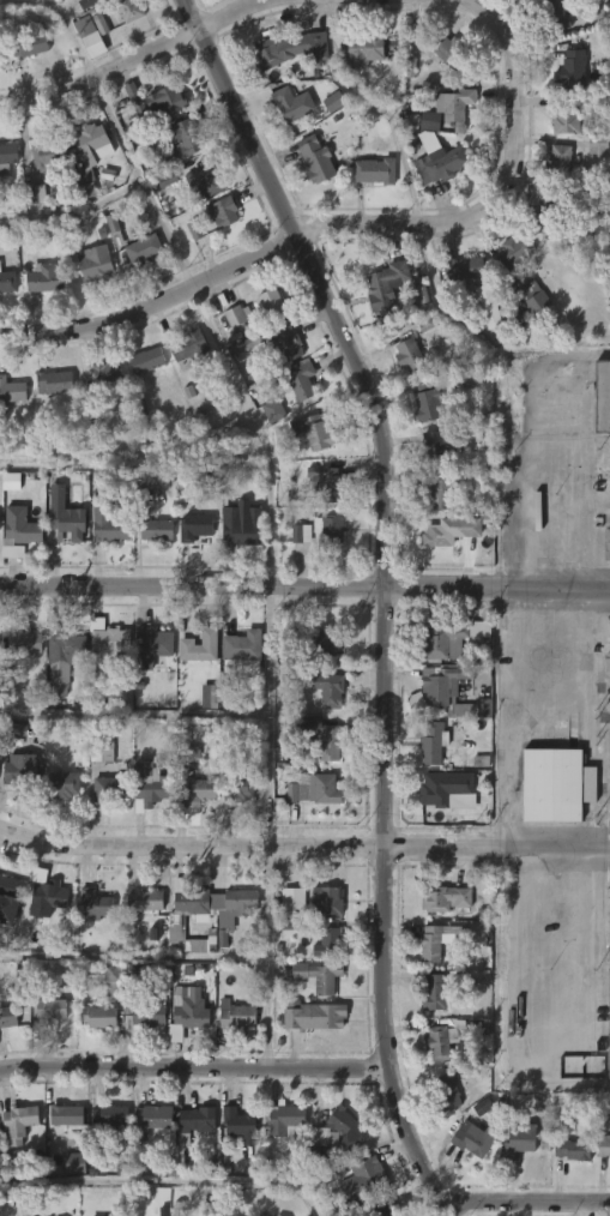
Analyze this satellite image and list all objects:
building: (86, 2)
building: (132, 11)
road: (231, 14)
building: (558, 14)
building: (101, 24)
building: (422, 31)
building: (90, 37)
building: (34, 47)
building: (289, 50)
building: (364, 50)
building: (451, 56)
building: (410, 68)
building: (574, 71)
road: (102, 72)
building: (164, 101)
building: (137, 102)
building: (334, 102)
building: (290, 104)
building: (457, 104)
road: (379, 107)
building: (570, 116)
building: (425, 121)
building: (187, 137)
building: (86, 143)
building: (8, 157)
building: (47, 159)
building: (314, 159)
building: (561, 163)
building: (442, 164)
building: (375, 170)
building: (167, 179)
building: (209, 181)
building: (86, 182)
road: (500, 189)
building: (35, 194)
building: (225, 210)
road: (76, 211)
building: (544, 211)
building: (194, 230)
building: (145, 248)
building: (513, 251)
building: (98, 263)
building: (461, 271)
building: (44, 279)
building: (7, 281)
building: (385, 284)
building: (532, 295)
road: (153, 303)
building: (272, 303)
building: (491, 308)
building: (235, 317)
building: (277, 342)
building: (187, 345)
building: (409, 356)
building: (145, 361)
building: (111, 374)
building: (54, 380)
building: (304, 381)
building: (423, 386)
building: (11, 390)
building: (425, 405)
building: (603, 409)
building: (273, 410)
building: (89, 415)
building: (314, 432)
building: (437, 447)
building: (11, 481)
building: (326, 484)
building: (441, 492)
road: (268, 507)
building: (64, 525)
building: (107, 525)
building: (240, 525)
building: (194, 528)
building: (331, 528)
building: (153, 529)
building: (453, 530)
building: (22, 532)
building: (301, 534)
road: (304, 586)
road: (386, 592)
building: (26, 642)
building: (291, 642)
building: (446, 642)
building: (64, 643)
building: (107, 643)
building: (241, 645)
building: (198, 646)
building: (151, 648)
building: (324, 649)
road: (587, 666)
building: (58, 678)
building: (443, 682)
building: (327, 692)
building: (210, 696)
road: (507, 718)
building: (319, 735)
building: (434, 741)
building: (99, 750)
building: (187, 753)
building: (609, 754)
building: (22, 769)
building: (556, 777)
building: (62, 784)
building: (147, 784)
building: (443, 787)
building: (108, 788)
building: (200, 789)
building: (240, 789)
building: (318, 790)
road: (191, 847)
road: (496, 848)
building: (10, 885)
building: (53, 896)
building: (447, 898)
building: (292, 899)
building: (146, 901)
building: (193, 901)
building: (242, 901)
building: (330, 901)
building: (95, 903)
building: (6, 907)
building: (291, 925)
building: (478, 932)
building: (185, 941)
building: (326, 941)
building: (437, 941)
road: (135, 955)
building: (321, 976)
building: (114, 980)
building: (608, 985)
building: (434, 997)
building: (145, 1005)
building: (47, 1010)
road: (586, 1010)
building: (192, 1012)
building: (236, 1013)
building: (95, 1016)
building: (316, 1016)
building: (7, 1017)
building: (442, 1041)
road: (195, 1067)
building: (452, 1091)
building: (483, 1107)
building: (65, 1114)
building: (109, 1116)
building: (151, 1118)
building: (17, 1119)
building: (194, 1120)
building: (288, 1121)
building: (237, 1124)
building: (346, 1124)
building: (320, 1136)
building: (475, 1138)
building: (519, 1140)
building: (603, 1144)
building: (570, 1149)
building: (74, 1163)
building: (363, 1179)
road: (167, 1182)
road: (527, 1204)
building: (387, 1209)
building: (163, 1211)
building: (278, 1215)

